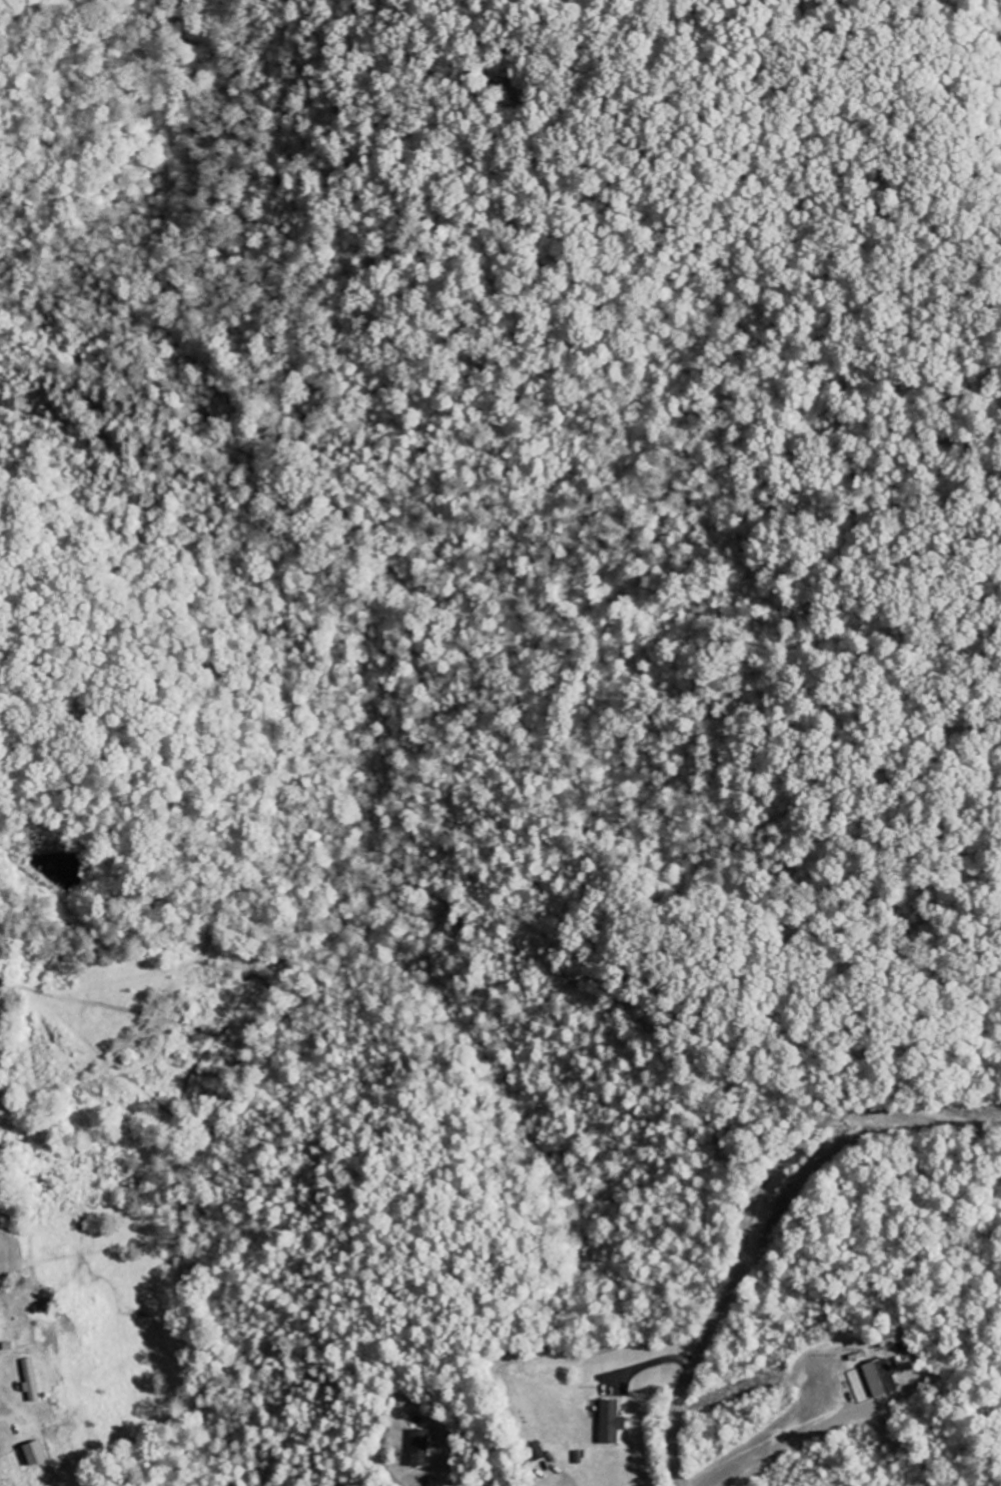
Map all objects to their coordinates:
road: (494, 602)
road: (750, 1207)
building: (0, 1331)
building: (880, 1379)
building: (31, 1381)
building: (610, 1423)
building: (420, 1449)
building: (32, 1455)

